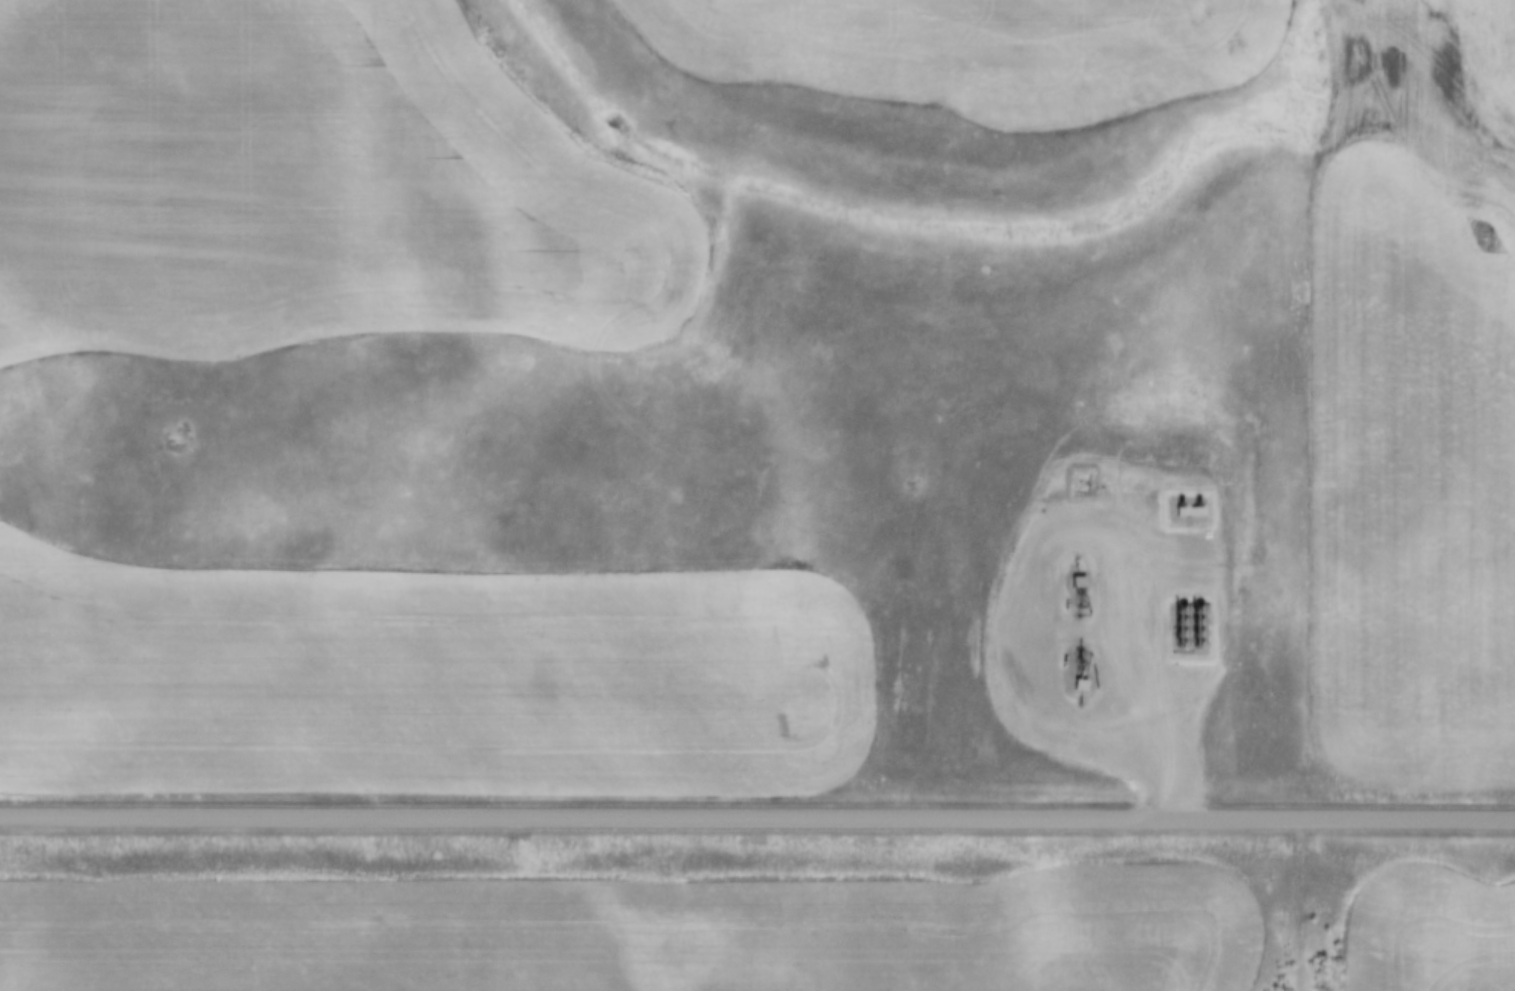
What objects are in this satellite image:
road: (757, 816)
road: (1260, 902)

